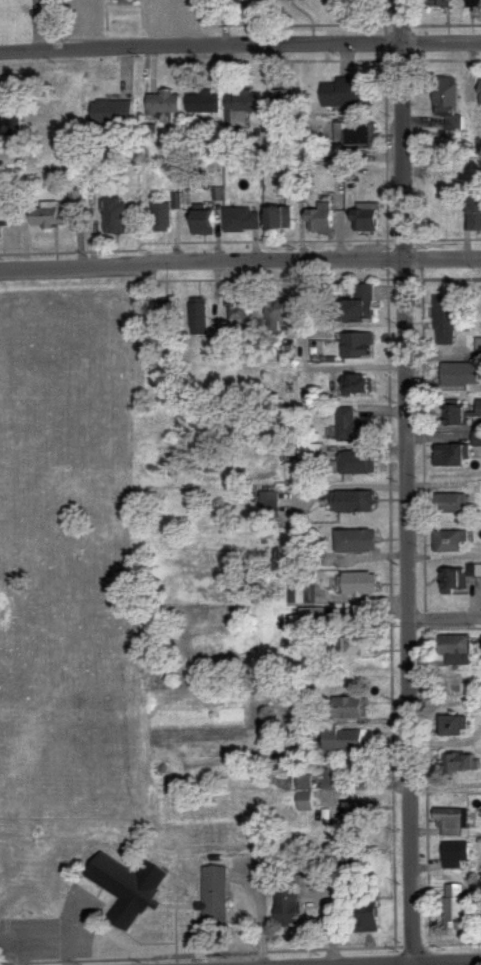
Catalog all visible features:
building: (440, 3)
building: (472, 3)
road: (440, 40)
road: (199, 45)
building: (479, 92)
building: (346, 93)
building: (279, 102)
building: (163, 103)
building: (203, 103)
building: (448, 104)
building: (241, 108)
building: (111, 112)
building: (9, 122)
building: (355, 136)
building: (474, 211)
building: (5, 216)
building: (48, 216)
building: (114, 216)
building: (161, 218)
building: (278, 219)
building: (319, 220)
building: (242, 221)
building: (363, 221)
building: (202, 223)
road: (240, 262)
building: (356, 306)
building: (166, 313)
building: (277, 313)
building: (239, 316)
building: (199, 317)
building: (445, 319)
building: (357, 345)
building: (461, 376)
building: (355, 384)
building: (478, 408)
building: (453, 412)
building: (351, 427)
building: (477, 439)
building: (450, 455)
building: (356, 462)
road: (406, 482)
building: (268, 499)
building: (352, 502)
building: (451, 504)
building: (355, 541)
building: (448, 541)
building: (454, 579)
building: (358, 583)
building: (302, 592)
building: (308, 620)
road: (444, 621)
building: (359, 647)
building: (455, 650)
building: (349, 708)
building: (452, 726)
building: (342, 740)
building: (458, 762)
building: (304, 793)
building: (356, 813)
building: (452, 822)
building: (455, 855)
building: (259, 862)
building: (339, 864)
building: (125, 889)
building: (214, 898)
building: (455, 905)
building: (285, 908)
building: (365, 915)

